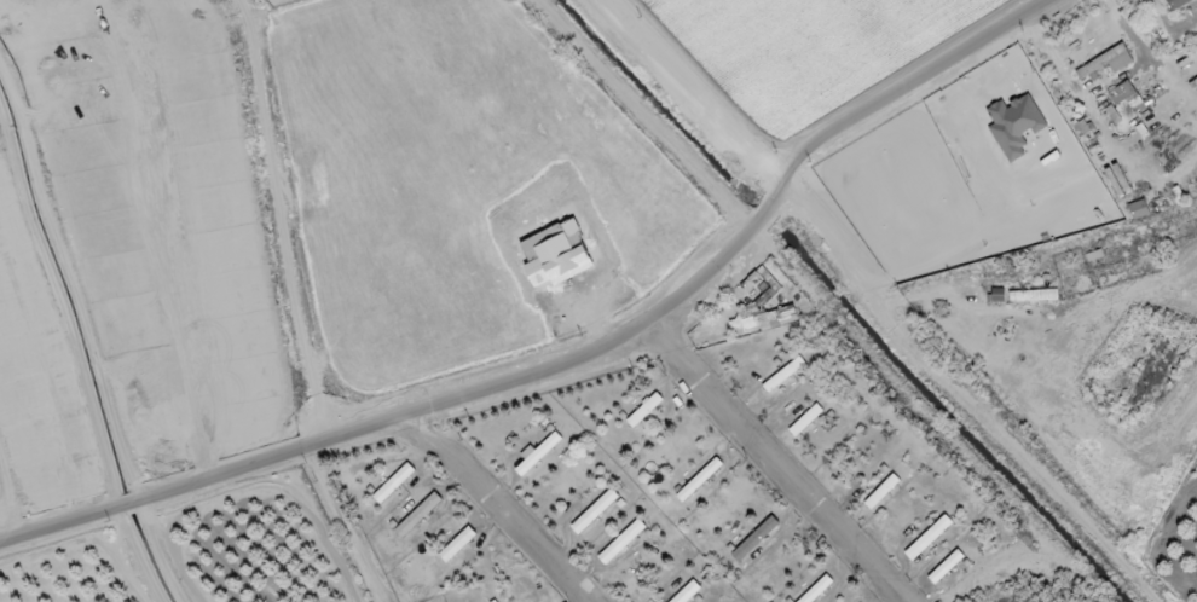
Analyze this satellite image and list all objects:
building: (1175, 4)
building: (1106, 63)
road: (692, 94)
building: (1124, 95)
building: (1117, 180)
building: (1138, 209)
road: (281, 221)
building: (1033, 295)
road: (942, 297)
building: (764, 317)
road: (577, 360)
building: (783, 375)
road: (962, 399)
building: (644, 410)
building: (805, 421)
building: (538, 452)
building: (699, 480)
building: (393, 484)
building: (881, 492)
road: (501, 508)
building: (594, 511)
building: (417, 515)
building: (927, 538)
building: (756, 539)
building: (621, 542)
building: (457, 545)
building: (946, 567)
building: (816, 590)

